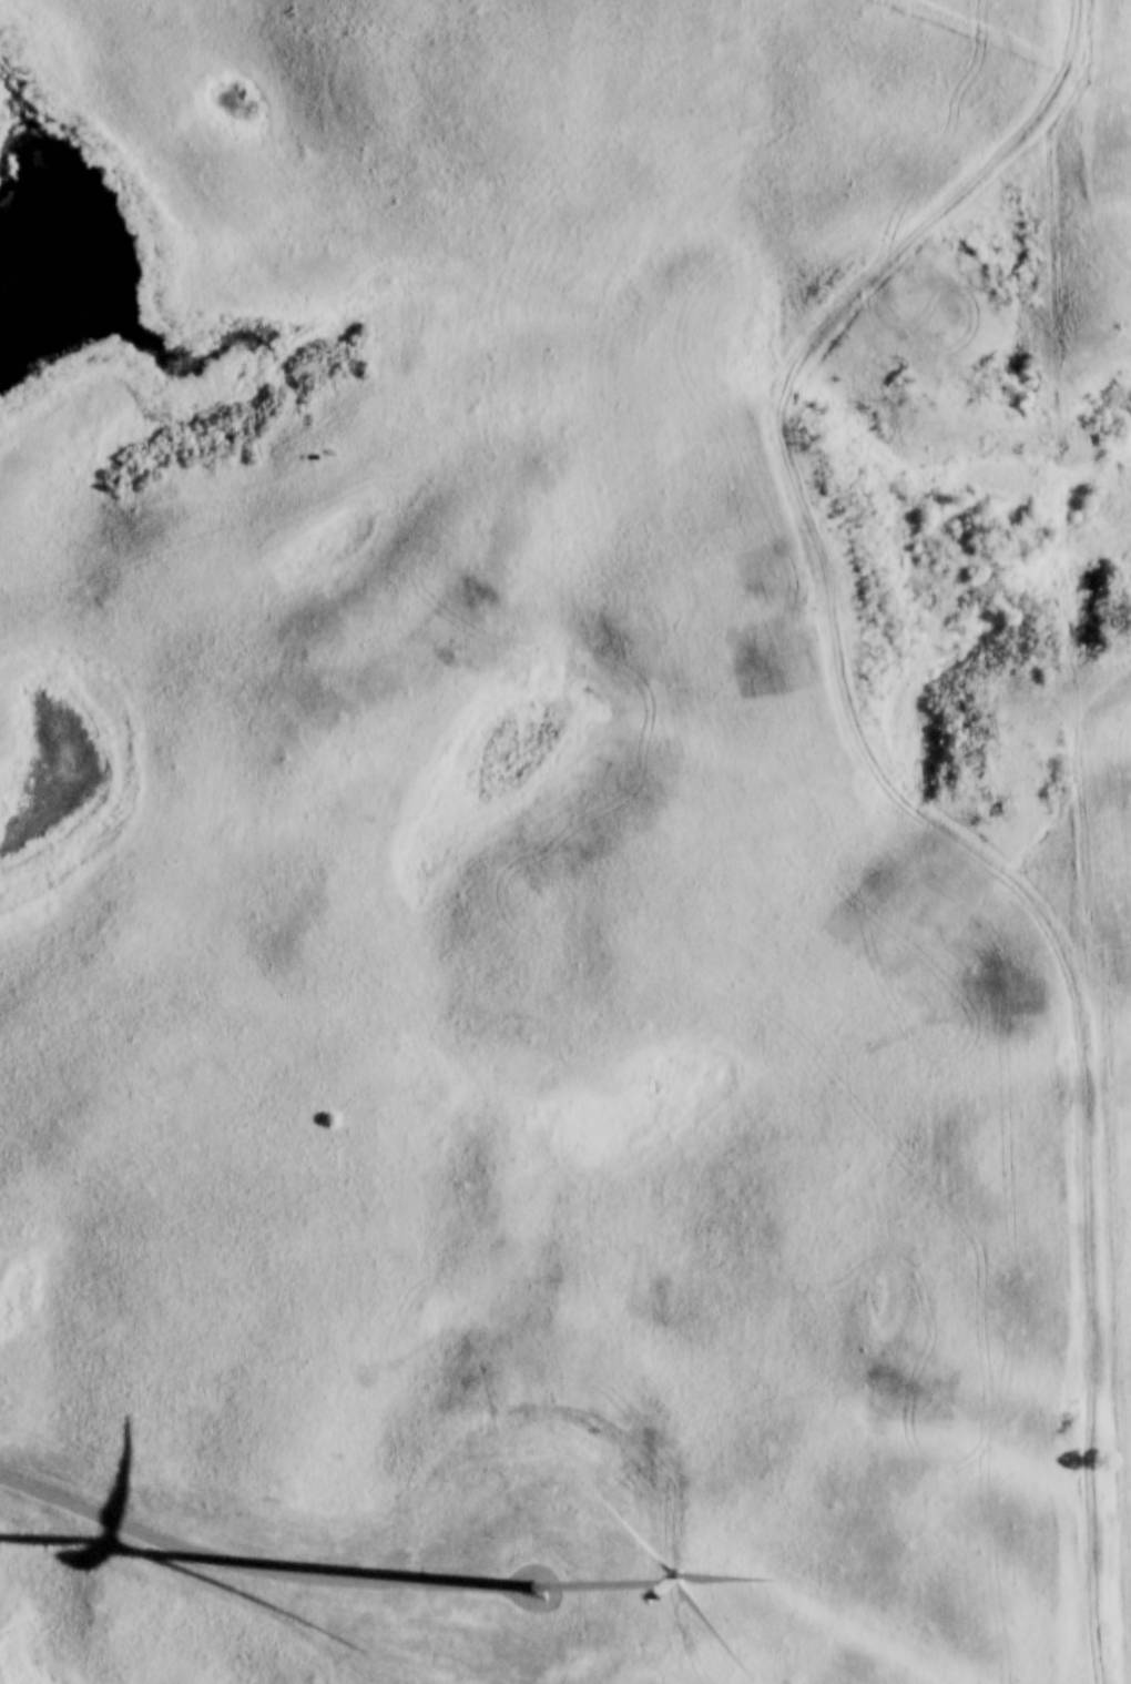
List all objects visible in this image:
road: (909, 802)
wind turbine: (526, 1545)
road: (230, 1566)

